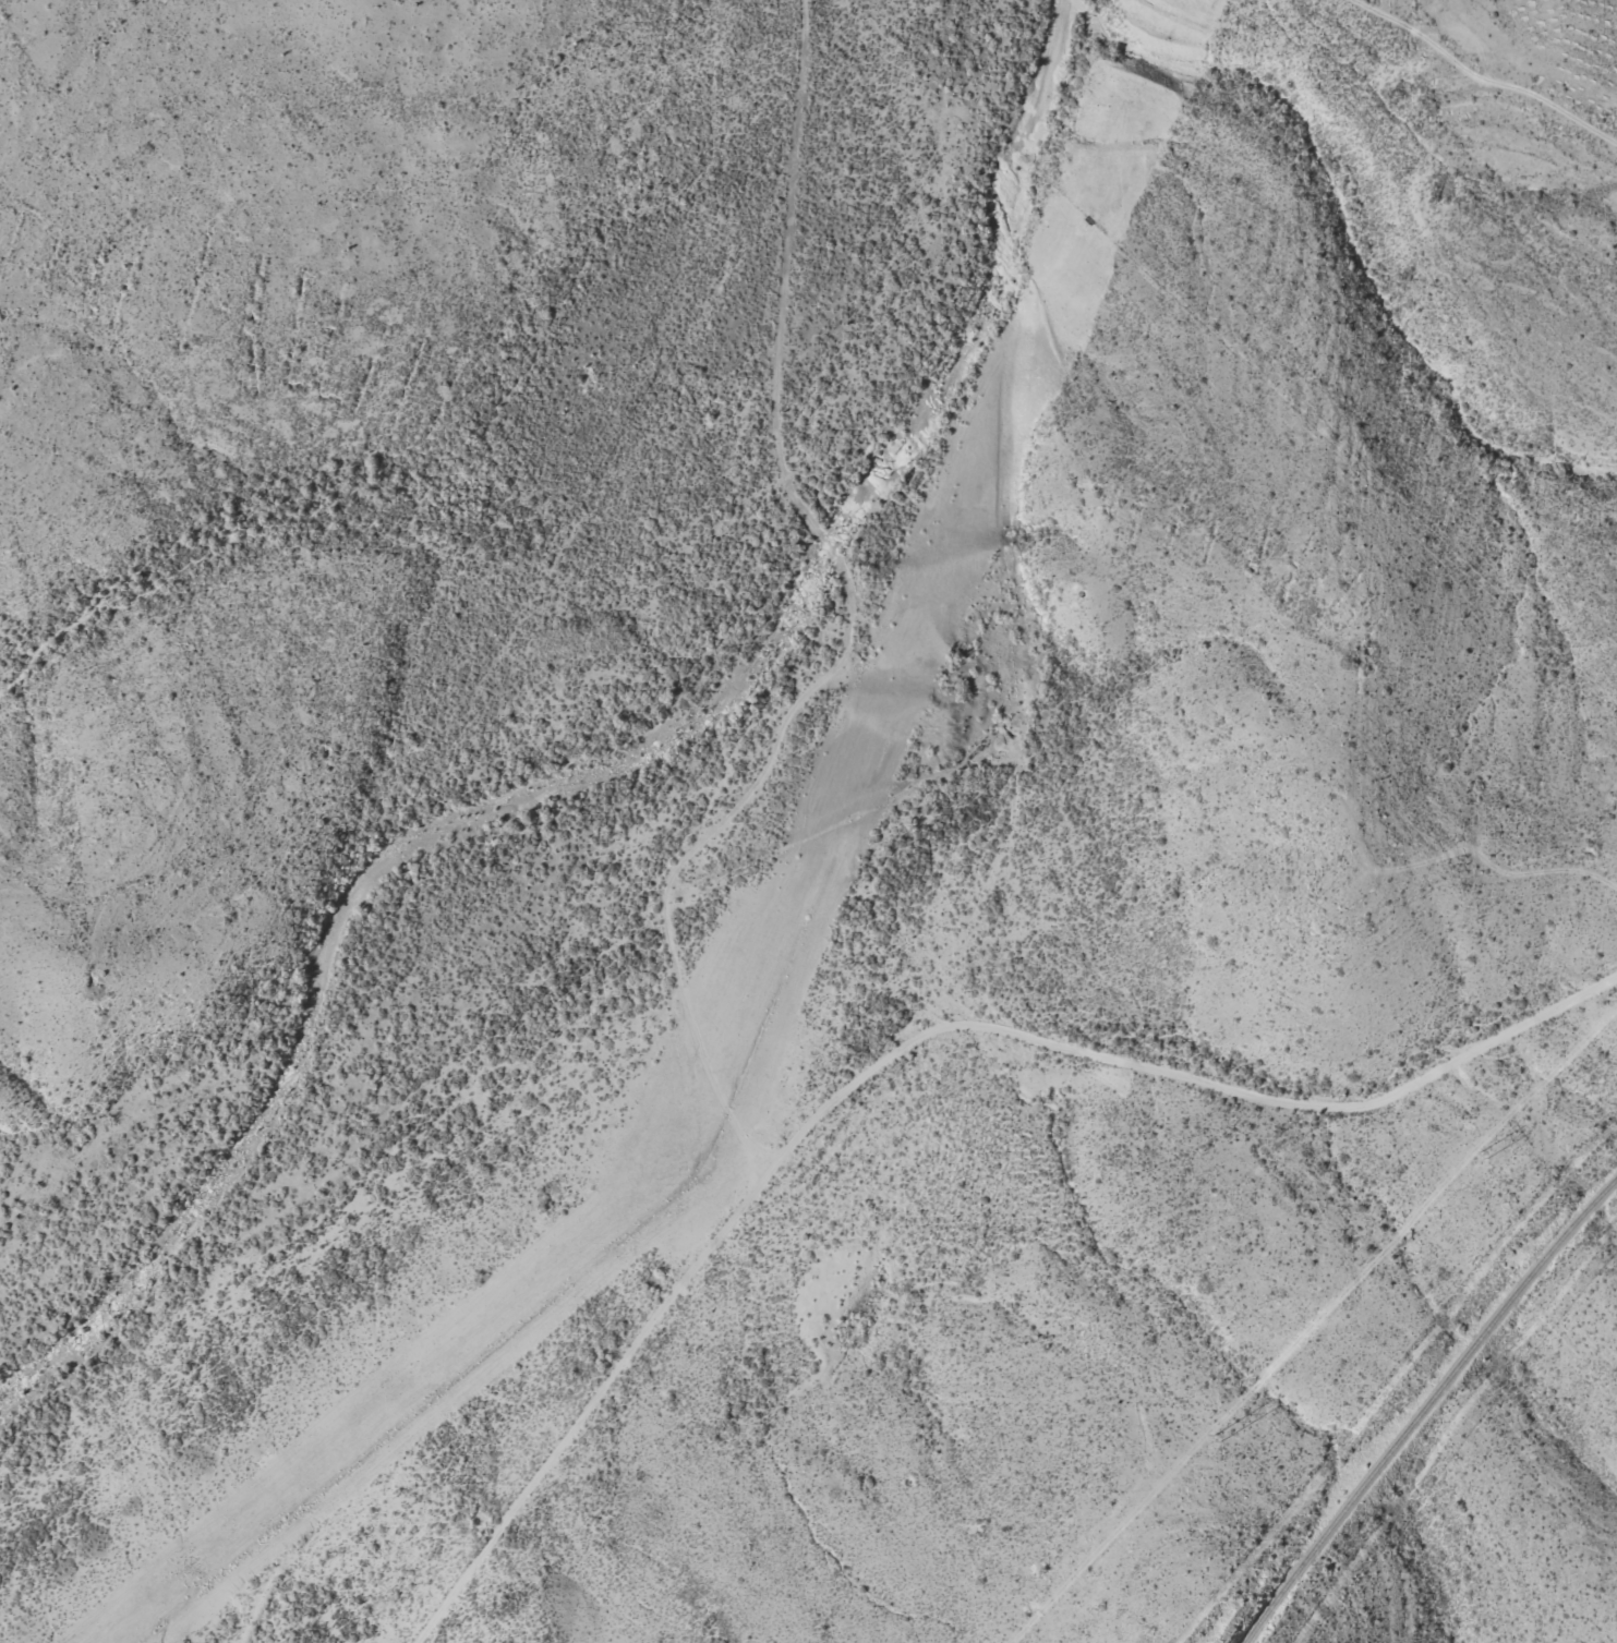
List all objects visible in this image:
road: (905, 1060)
power tower: (1482, 1153)
railway: (1423, 1404)
power tower: (1216, 1438)

